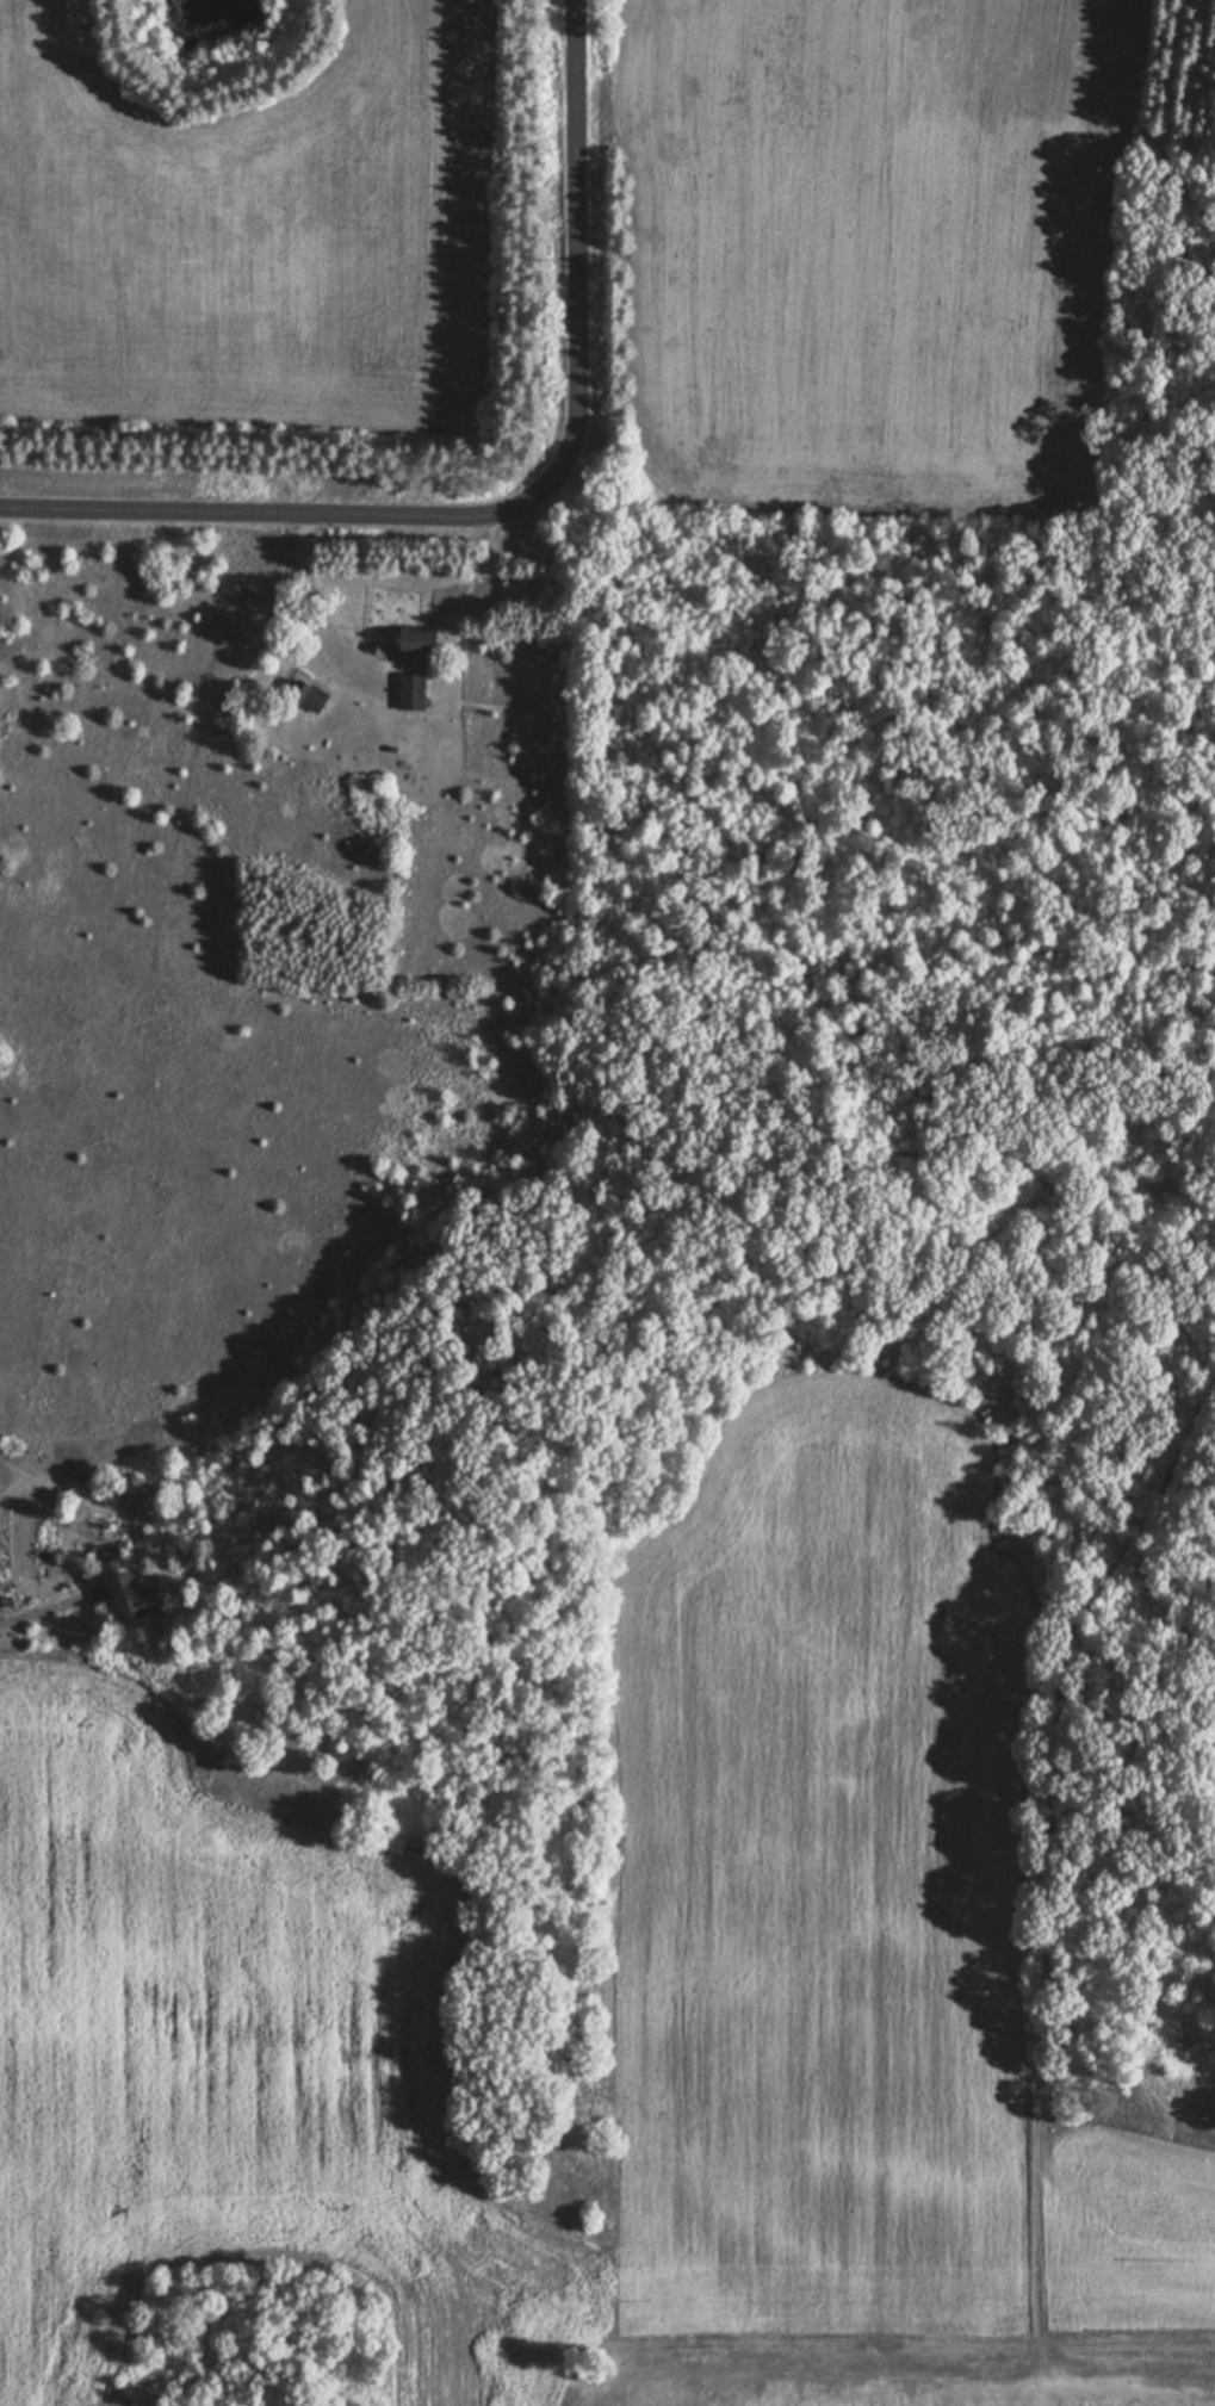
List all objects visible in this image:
road: (521, 501)
building: (413, 638)
building: (410, 689)
building: (300, 694)
building: (147, 1496)
building: (125, 1598)

